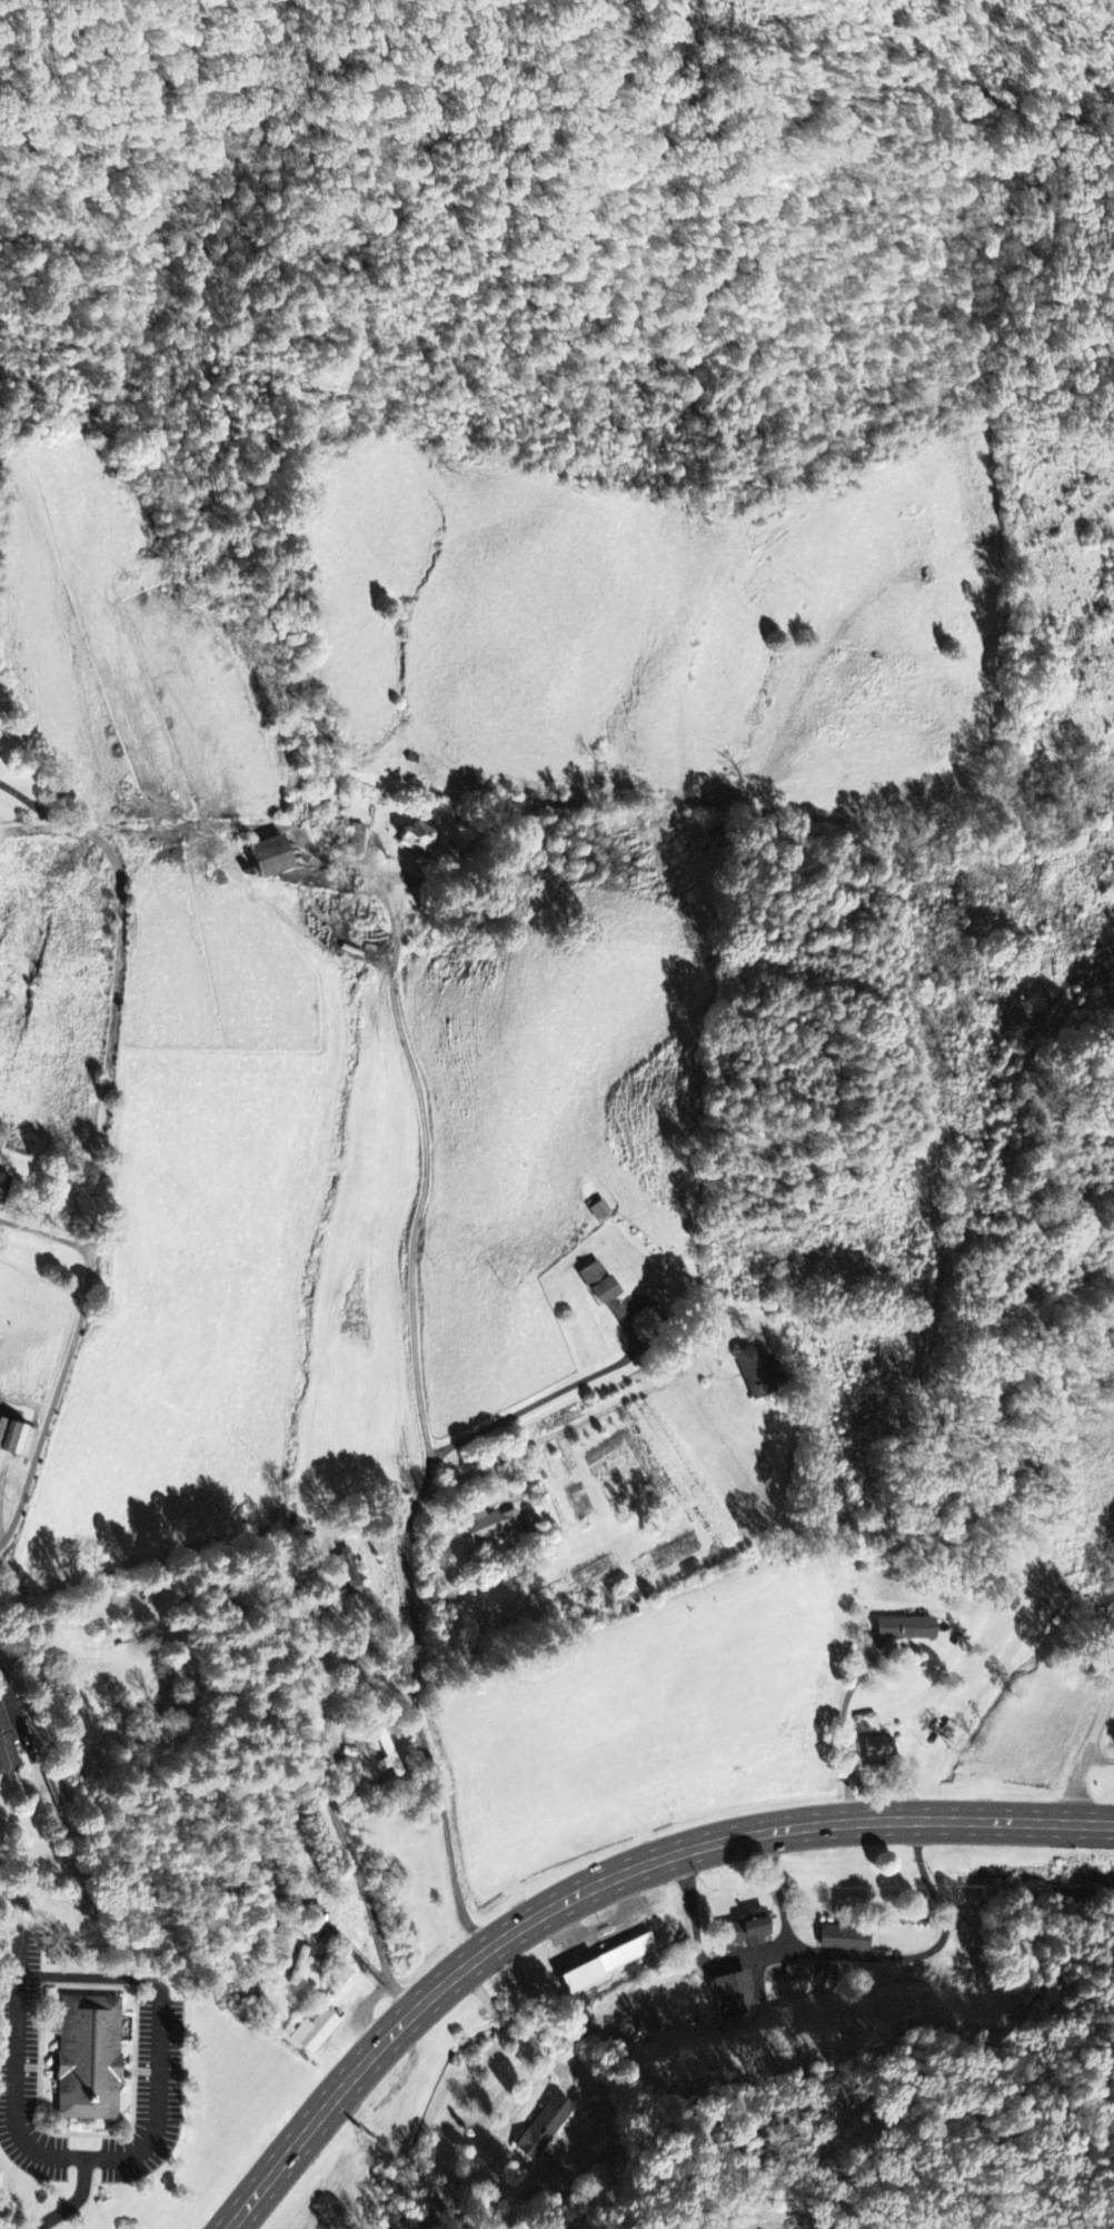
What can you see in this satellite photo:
building: (357, 839)
building: (418, 841)
building: (268, 858)
road: (90, 1133)
road: (422, 1175)
building: (0, 1179)
building: (599, 1211)
building: (597, 1285)
building: (757, 1374)
building: (16, 1442)
building: (531, 1527)
building: (489, 1528)
building: (347, 1573)
road: (407, 1581)
building: (904, 1631)
road: (12, 1695)
road: (1088, 1751)
building: (877, 1752)
park: (1106, 1763)
road: (1092, 1824)
road: (585, 1890)
building: (747, 1932)
building: (844, 1941)
building: (607, 1965)
building: (793, 1975)
building: (733, 1998)
building: (318, 2035)
building: (87, 2060)
building: (543, 2129)

